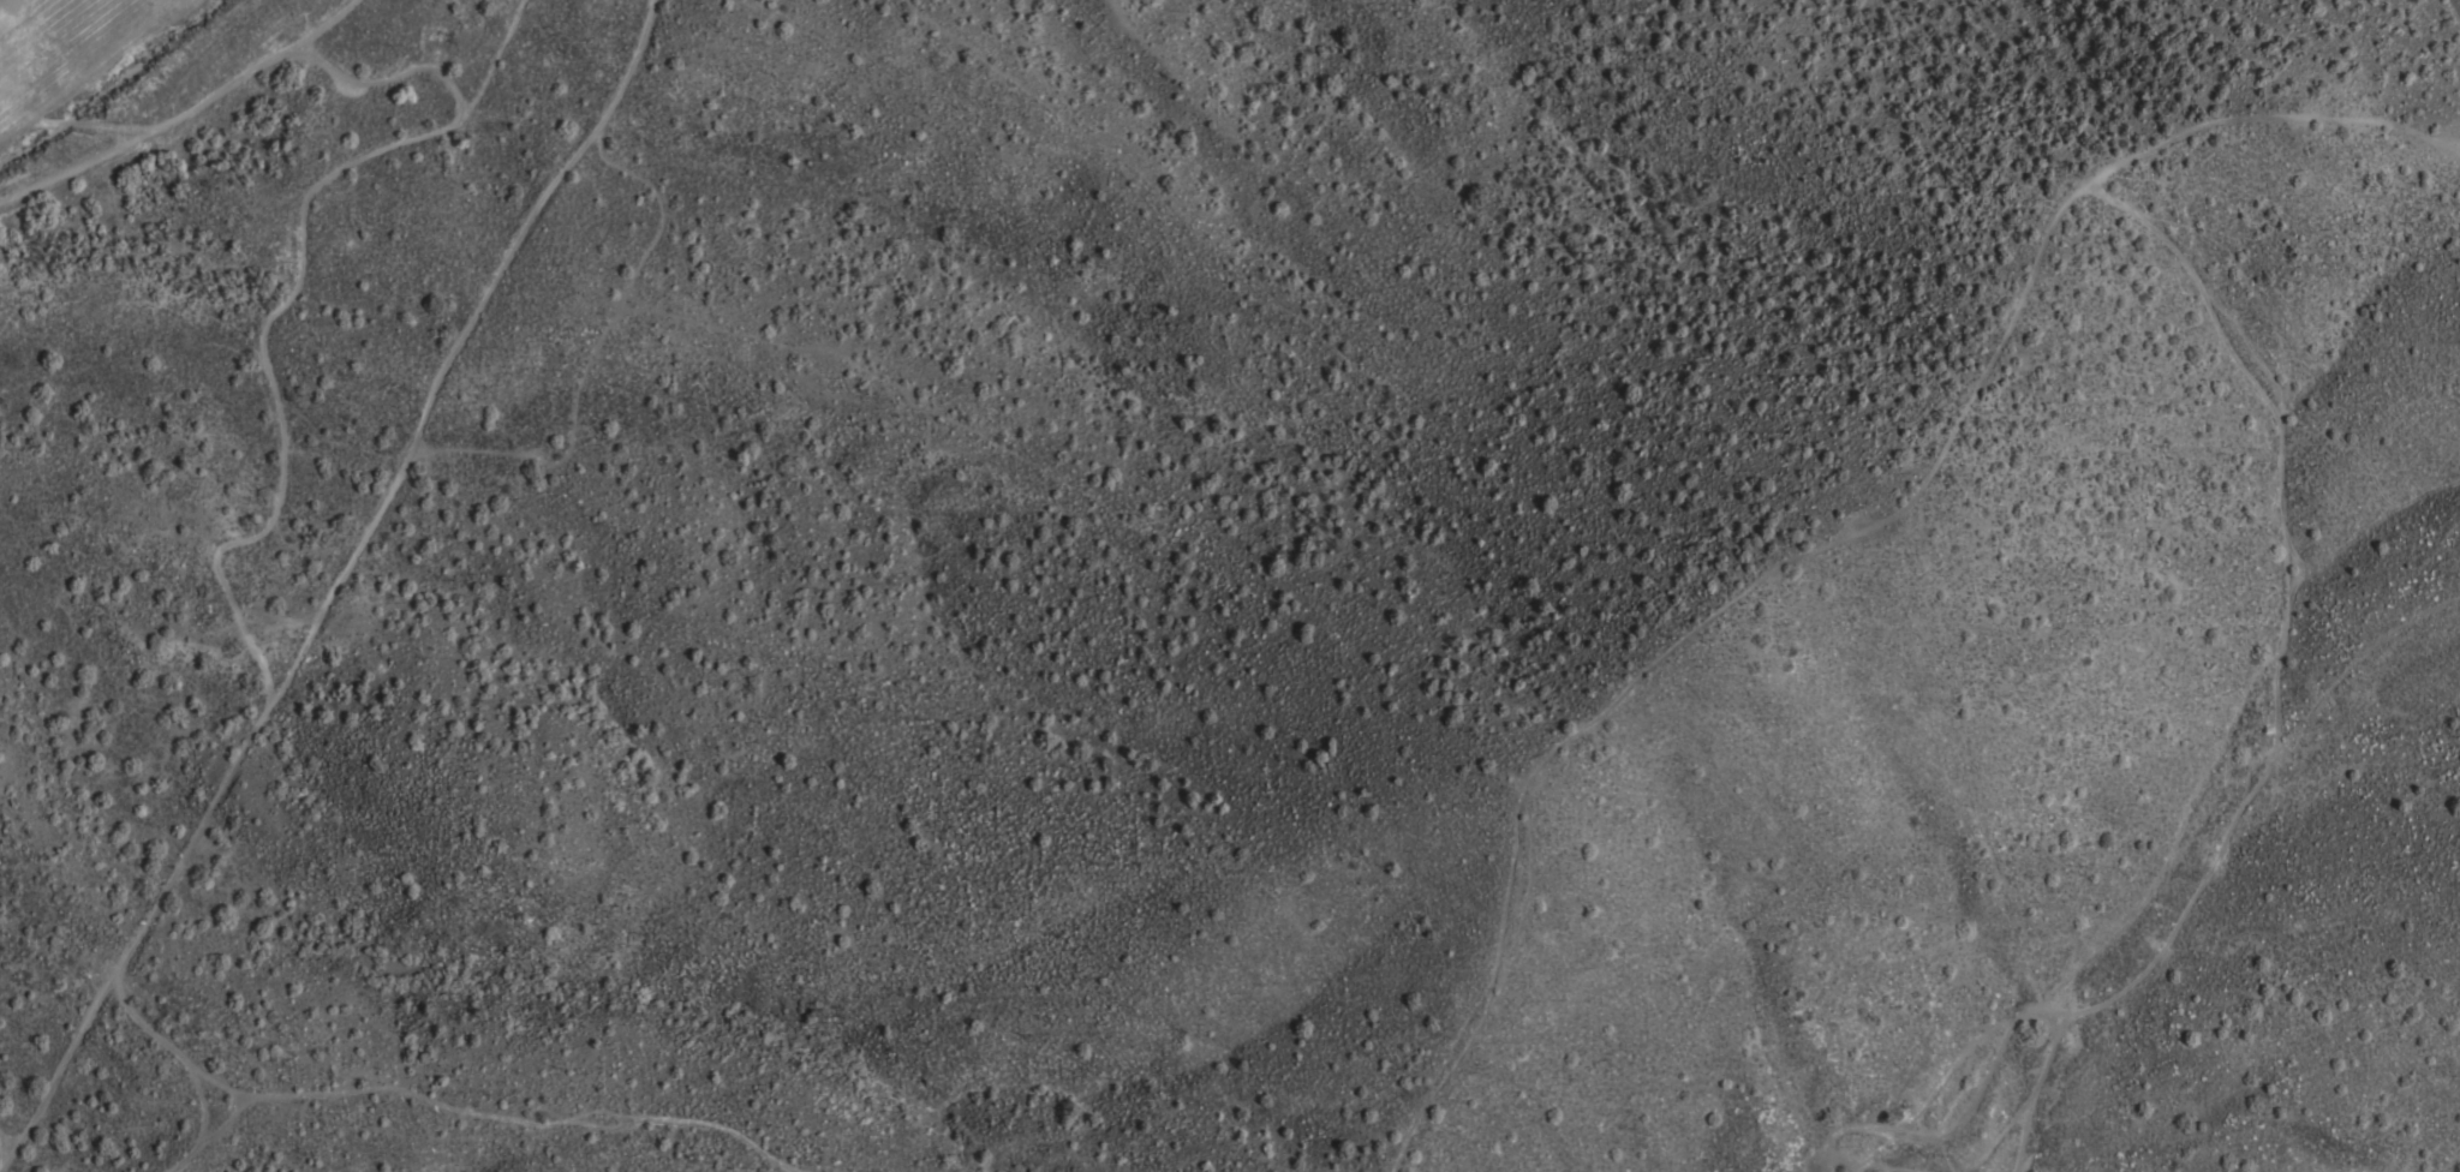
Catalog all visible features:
airport: (70, 53)
road: (330, 586)

